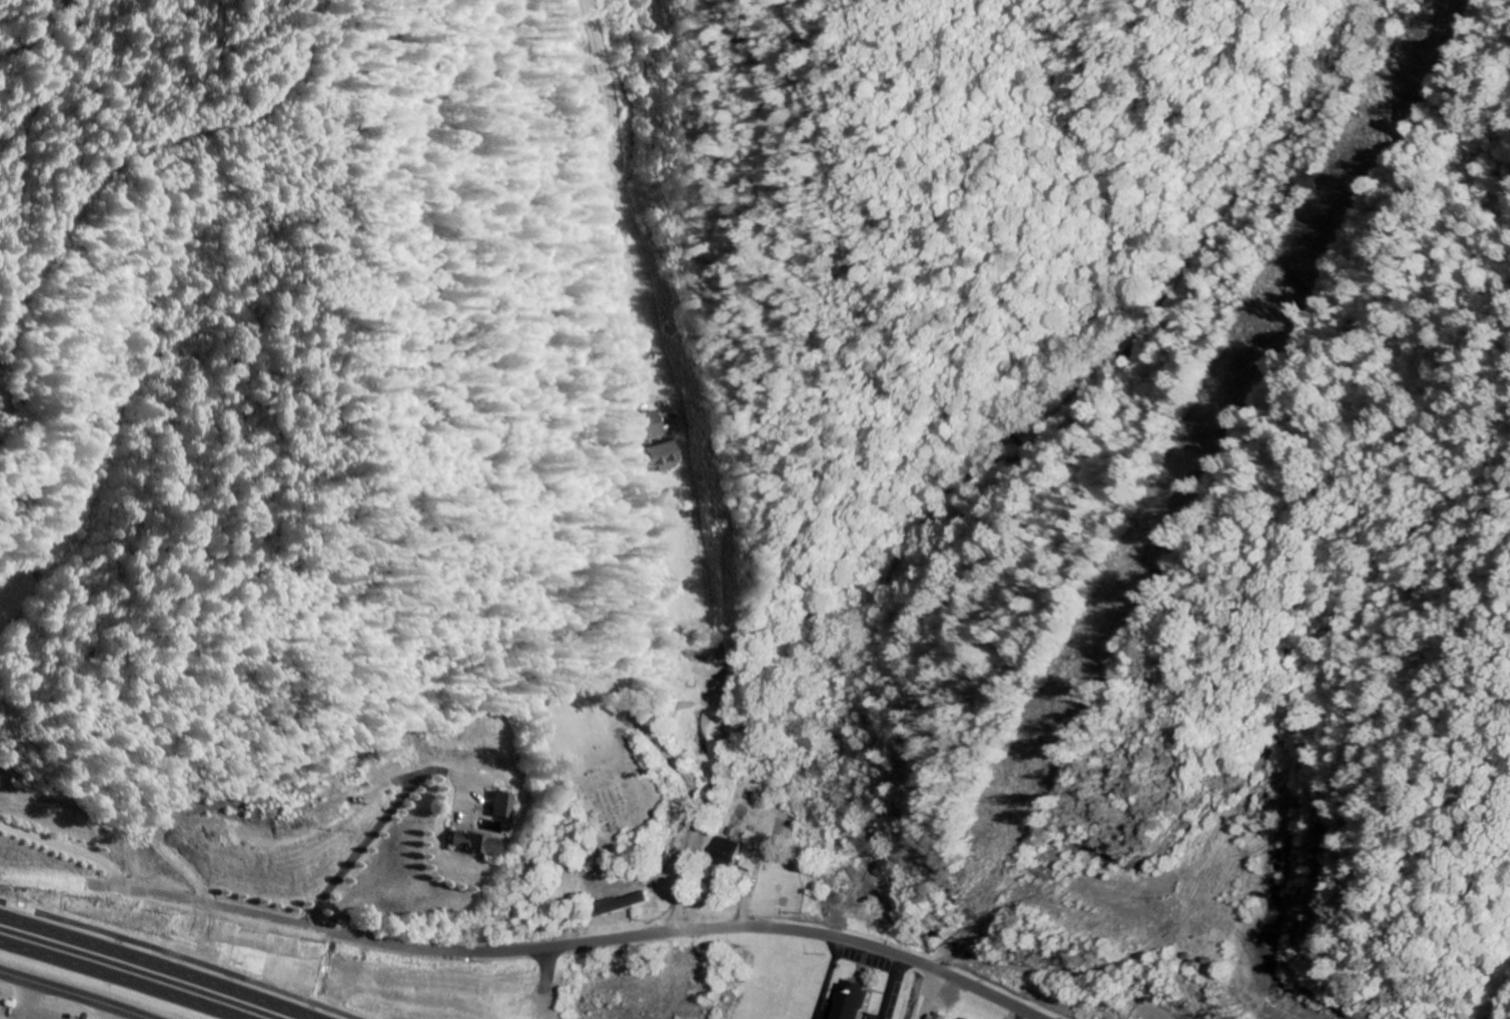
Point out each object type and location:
building: (654, 426)
building: (668, 457)
road: (687, 466)
building: (691, 654)
building: (700, 732)
building: (504, 805)
road: (382, 828)
building: (473, 844)
road: (529, 947)
road: (161, 965)
road: (1045, 976)
road: (119, 978)
road: (70, 995)
building: (850, 1002)
building: (937, 1016)
building: (964, 1018)

